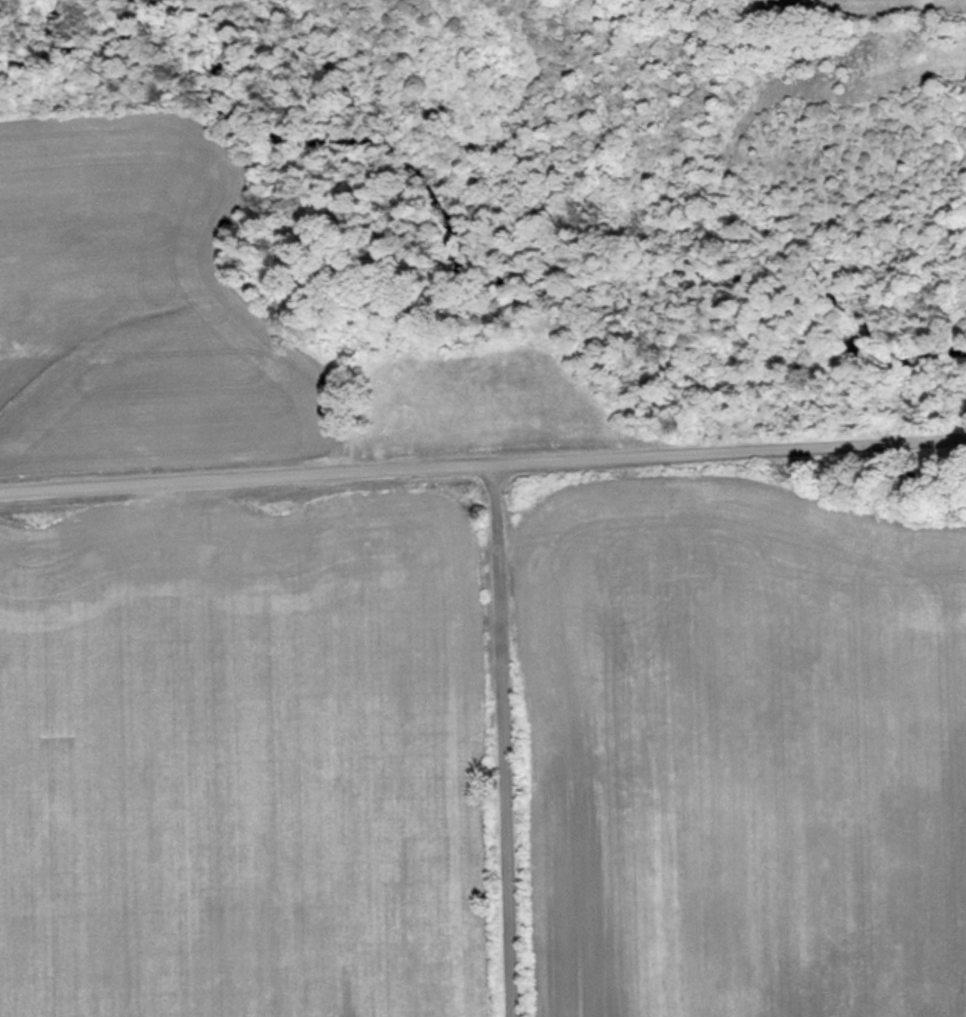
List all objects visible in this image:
road: (482, 456)
road: (495, 736)

